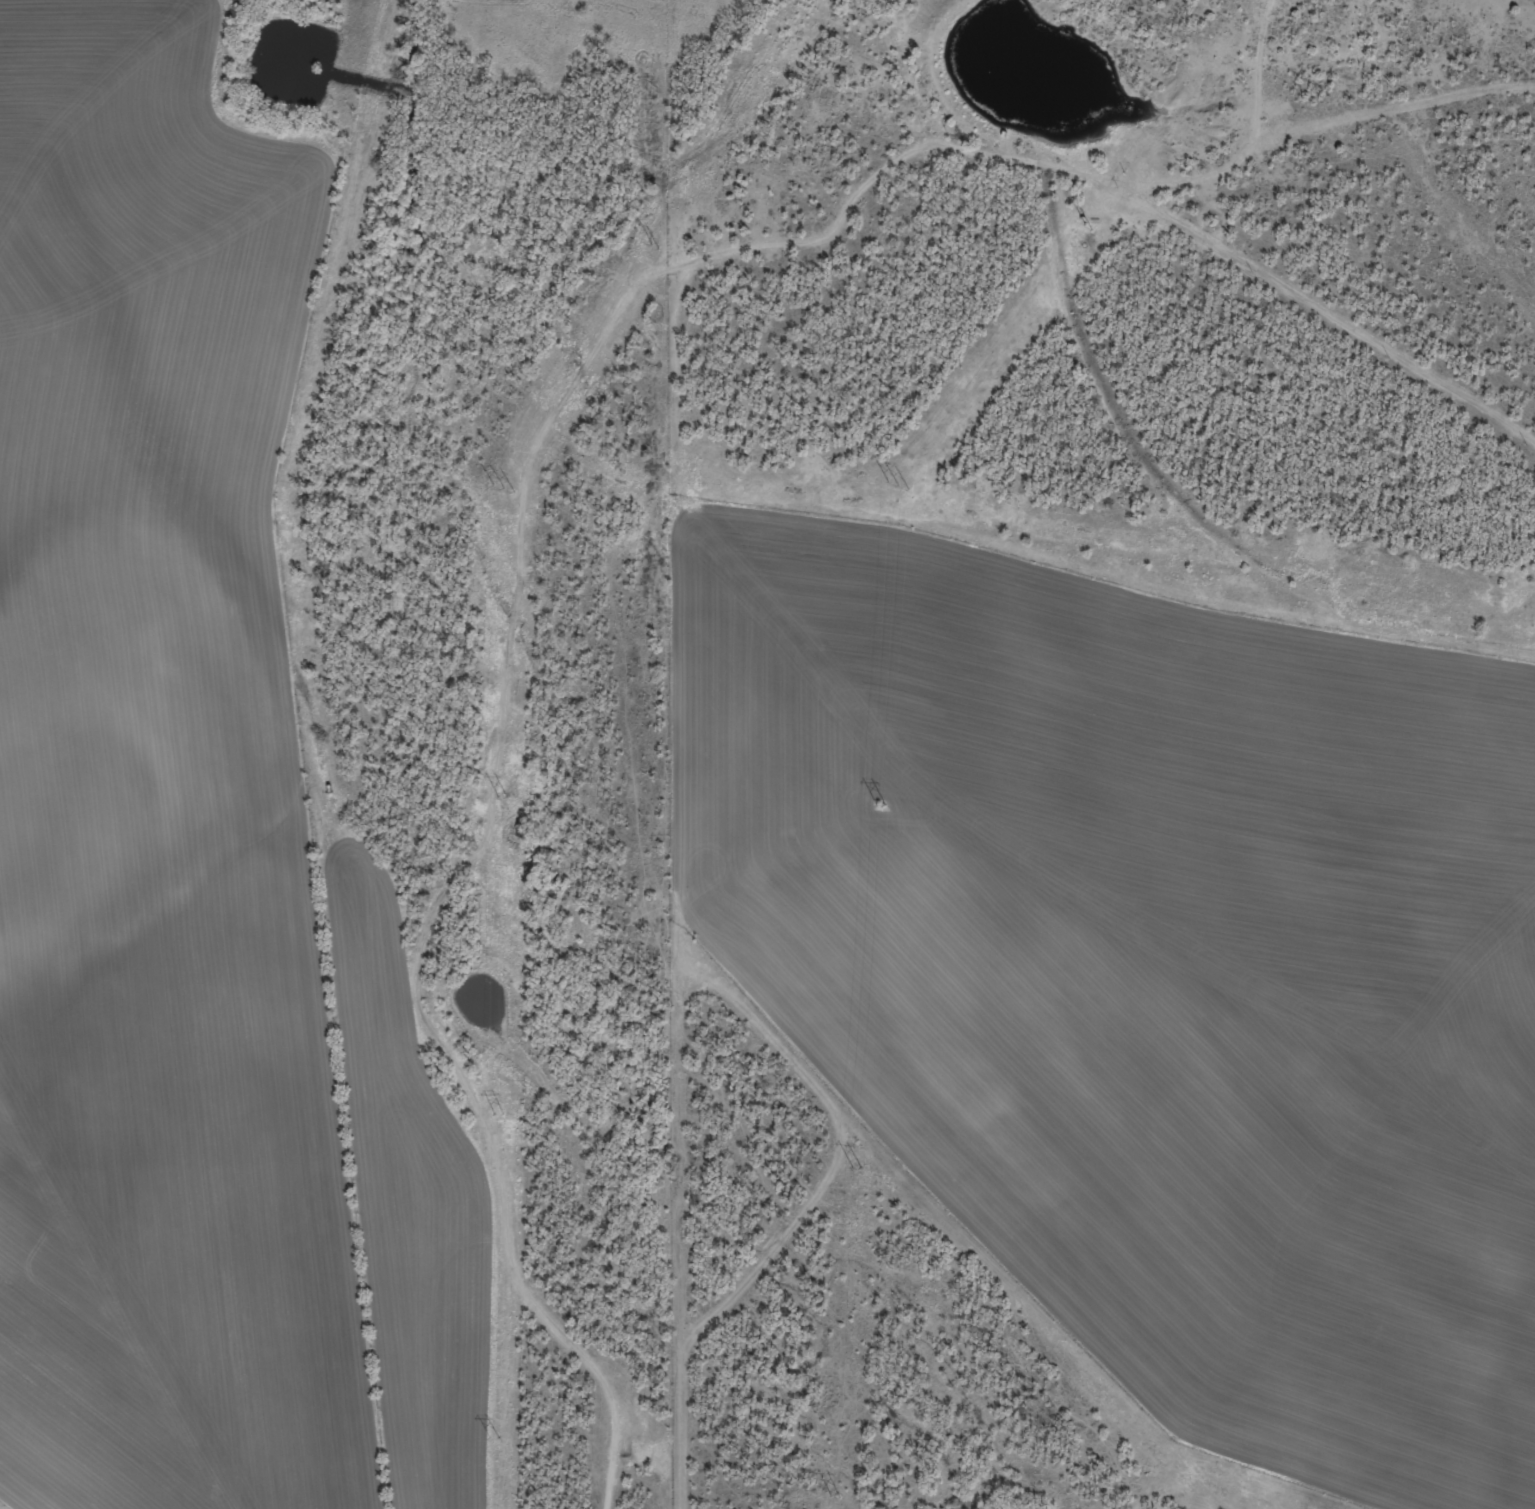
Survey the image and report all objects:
power tower: (1087, 227)
power tower: (653, 247)
power tower: (897, 485)
power tower: (502, 488)
power tower: (500, 796)
power tower: (879, 805)
power tower: (496, 1114)
power tower: (854, 1168)
power tower: (491, 1438)
power tower: (832, 1497)

